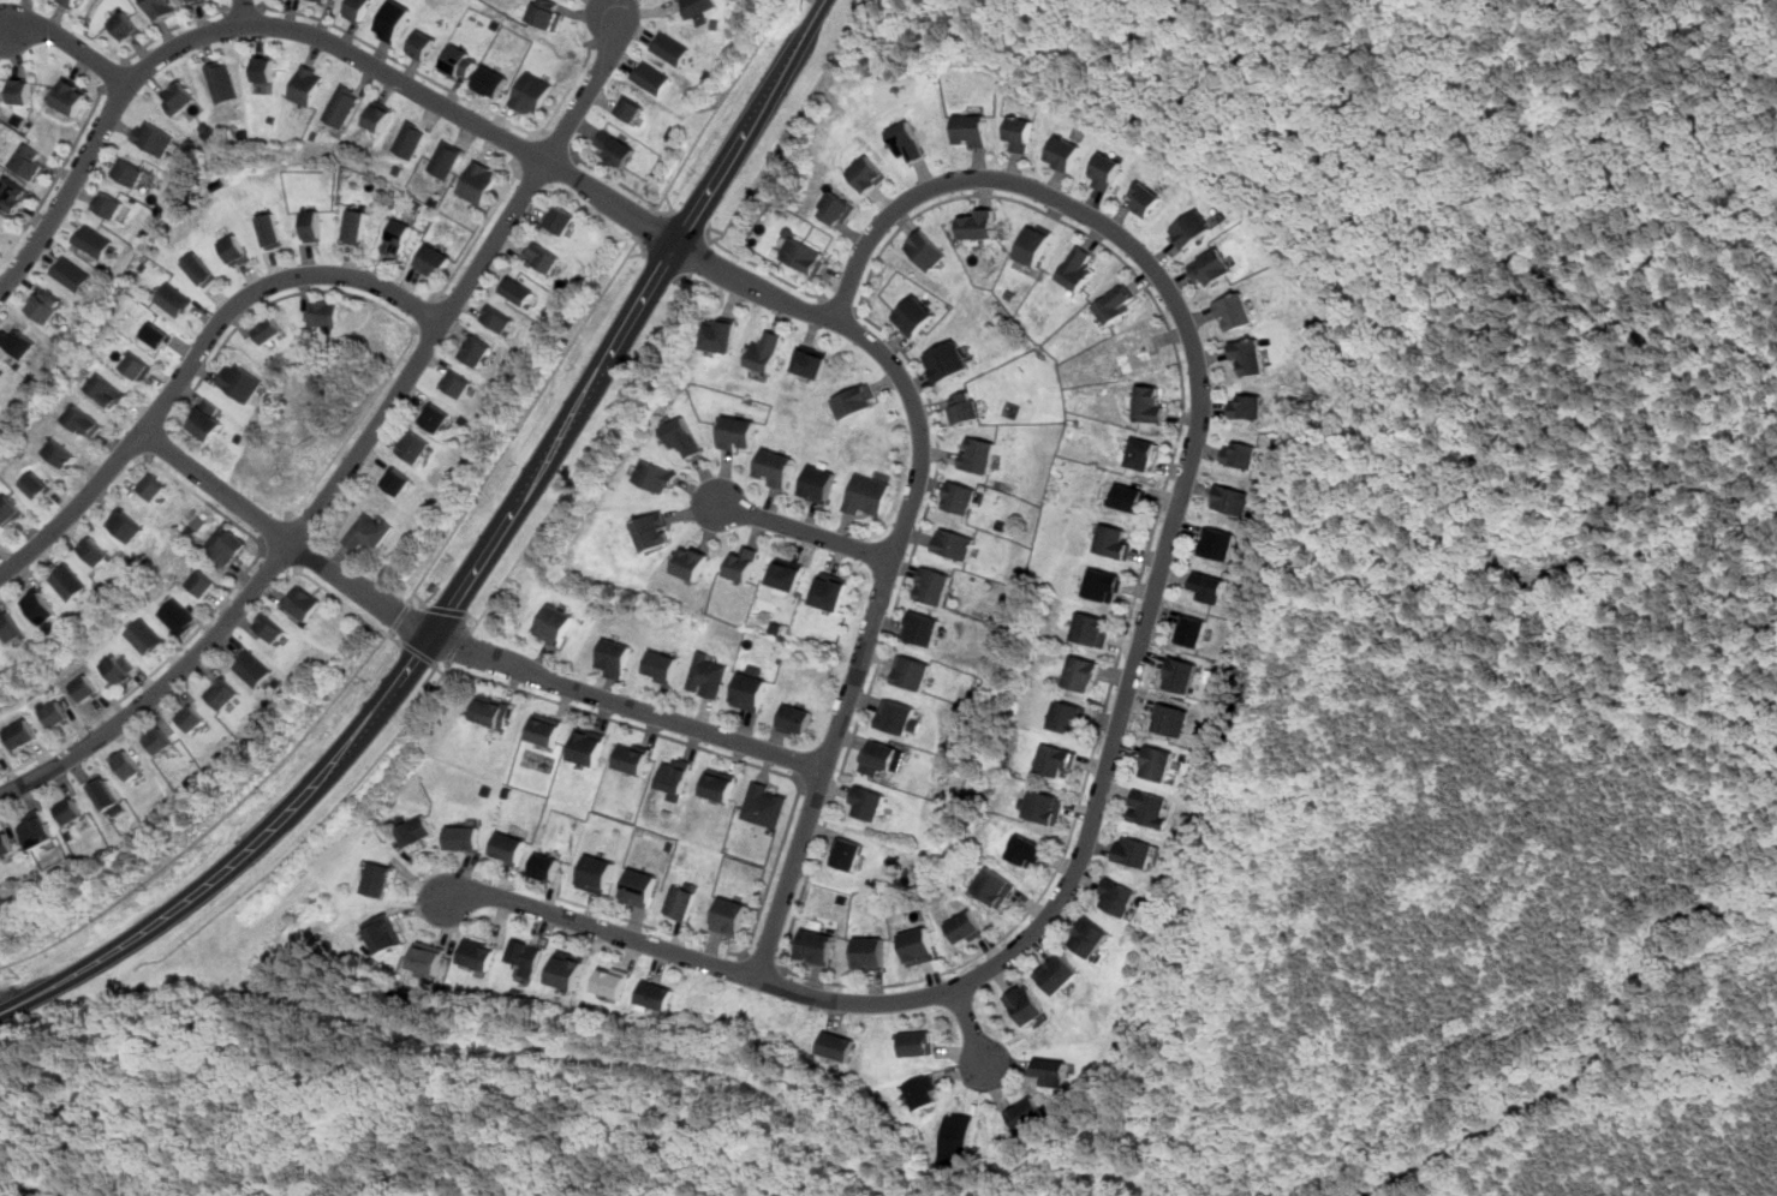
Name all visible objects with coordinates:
building: (199, 1)
building: (328, 1)
building: (73, 2)
building: (699, 6)
building: (162, 7)
building: (359, 10)
road: (246, 11)
road: (248, 13)
building: (547, 13)
road: (817, 14)
building: (396, 19)
building: (129, 25)
road: (175, 28)
building: (425, 43)
road: (602, 43)
road: (71, 46)
building: (670, 47)
building: (463, 62)
road: (127, 64)
building: (266, 68)
building: (650, 77)
road: (119, 79)
building: (221, 80)
building: (494, 80)
building: (308, 84)
building: (20, 90)
road: (453, 91)
building: (531, 94)
building: (70, 96)
building: (178, 97)
building: (344, 104)
building: (628, 108)
building: (380, 114)
building: (974, 130)
building: (1021, 132)
road: (499, 134)
building: (151, 136)
road: (743, 136)
building: (410, 138)
building: (908, 140)
road: (556, 145)
building: (614, 148)
road: (530, 151)
building: (1066, 153)
building: (446, 157)
building: (28, 162)
road: (685, 162)
building: (1107, 169)
building: (127, 171)
building: (867, 173)
road: (756, 174)
road: (56, 177)
building: (478, 181)
building: (12, 195)
building: (1147, 197)
building: (108, 204)
building: (836, 208)
building: (561, 220)
building: (980, 223)
building: (315, 225)
building: (357, 225)
building: (1193, 228)
building: (274, 229)
road: (1085, 229)
road: (479, 233)
building: (398, 237)
building: (91, 240)
building: (1036, 244)
building: (238, 249)
building: (929, 250)
building: (543, 256)
building: (804, 256)
building: (434, 261)
building: (1212, 267)
building: (203, 268)
building: (1079, 269)
building: (68, 271)
road: (687, 273)
building: (520, 289)
building: (175, 298)
road: (374, 300)
building: (1117, 303)
building: (44, 304)
road: (842, 310)
building: (1235, 311)
building: (324, 312)
building: (914, 313)
road: (428, 316)
building: (500, 318)
building: (273, 330)
building: (157, 334)
building: (720, 334)
building: (19, 341)
road: (616, 343)
building: (479, 349)
building: (765, 351)
building: (1138, 352)
building: (1250, 355)
road: (193, 357)
building: (810, 360)
building: (948, 360)
building: (136, 365)
building: (1, 373)
building: (241, 382)
building: (460, 383)
building: (106, 390)
building: (855, 400)
building: (1151, 403)
building: (1247, 405)
building: (964, 406)
building: (439, 417)
building: (208, 419)
building: (83, 420)
road: (526, 420)
building: (738, 432)
building: (682, 435)
road: (153, 441)
building: (416, 445)
road: (360, 449)
building: (60, 452)
building: (979, 453)
building: (1145, 453)
building: (1241, 453)
road: (584, 456)
building: (775, 466)
building: (656, 476)
building: (400, 480)
building: (818, 483)
building: (37, 484)
building: (151, 485)
building: (867, 494)
building: (1132, 496)
building: (962, 497)
building: (1233, 498)
building: (10, 509)
building: (126, 524)
building: (655, 530)
road: (806, 531)
building: (370, 532)
road: (495, 539)
building: (1115, 540)
building: (956, 543)
building: (1220, 543)
road: (264, 545)
building: (229, 546)
road: (262, 546)
building: (96, 550)
building: (746, 561)
building: (693, 562)
building: (788, 575)
building: (70, 580)
building: (203, 581)
building: (1105, 584)
building: (934, 585)
building: (1210, 586)
building: (833, 590)
road: (417, 594)
road: (344, 599)
building: (304, 602)
building: (42, 604)
road: (452, 611)
building: (178, 614)
building: (555, 622)
building: (11, 624)
building: (272, 627)
building: (923, 627)
building: (1093, 628)
building: (1193, 629)
building: (145, 635)
road: (459, 646)
road: (418, 652)
building: (615, 657)
building: (663, 665)
building: (121, 666)
building: (254, 668)
building: (910, 671)
building: (710, 672)
building: (1084, 672)
building: (1182, 674)
building: (87, 687)
building: (751, 690)
building: (223, 693)
road: (1125, 700)
building: (493, 710)
building: (56, 712)
building: (899, 716)
building: (193, 717)
building: (1069, 717)
building: (1168, 718)
building: (795, 719)
road: (624, 722)
road: (356, 726)
building: (547, 729)
building: (23, 732)
building: (161, 740)
building: (589, 744)
building: (878, 755)
building: (634, 757)
building: (0, 759)
building: (1057, 760)
building: (0, 763)
building: (1157, 763)
building: (129, 764)
road: (824, 767)
building: (675, 775)
road: (809, 775)
building: (720, 783)
building: (108, 795)
building: (867, 802)
building: (767, 803)
building: (1045, 806)
building: (1150, 807)
building: (71, 811)
road: (215, 825)
building: (37, 829)
building: (415, 829)
building: (464, 836)
building: (6, 844)
building: (509, 848)
building: (1027, 849)
building: (1135, 850)
building: (848, 853)
building: (547, 865)
building: (597, 873)
building: (378, 878)
building: (640, 886)
building: (994, 886)
building: (1119, 896)
building: (682, 899)
building: (729, 915)
road: (147, 927)
building: (965, 927)
building: (384, 932)
building: (1092, 937)
building: (918, 944)
building: (817, 945)
building: (870, 951)
building: (478, 953)
building: (527, 955)
building: (429, 958)
road: (763, 962)
building: (568, 968)
building: (1060, 971)
building: (613, 980)
building: (656, 994)
building: (1026, 1003)
road: (971, 1024)
building: (918, 1042)
building: (839, 1045)
building: (1053, 1070)
building: (923, 1092)
building: (1027, 1113)
building: (958, 1140)

